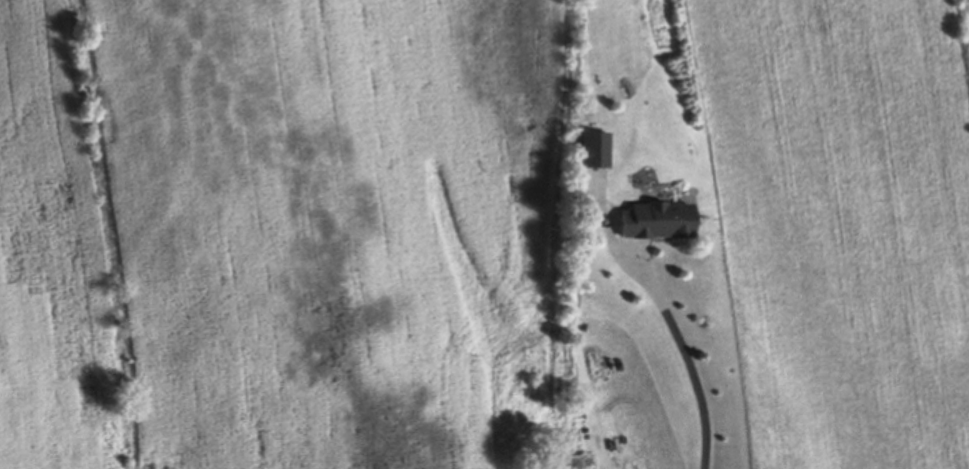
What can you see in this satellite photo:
building: (592, 153)
building: (654, 223)
road: (687, 353)

